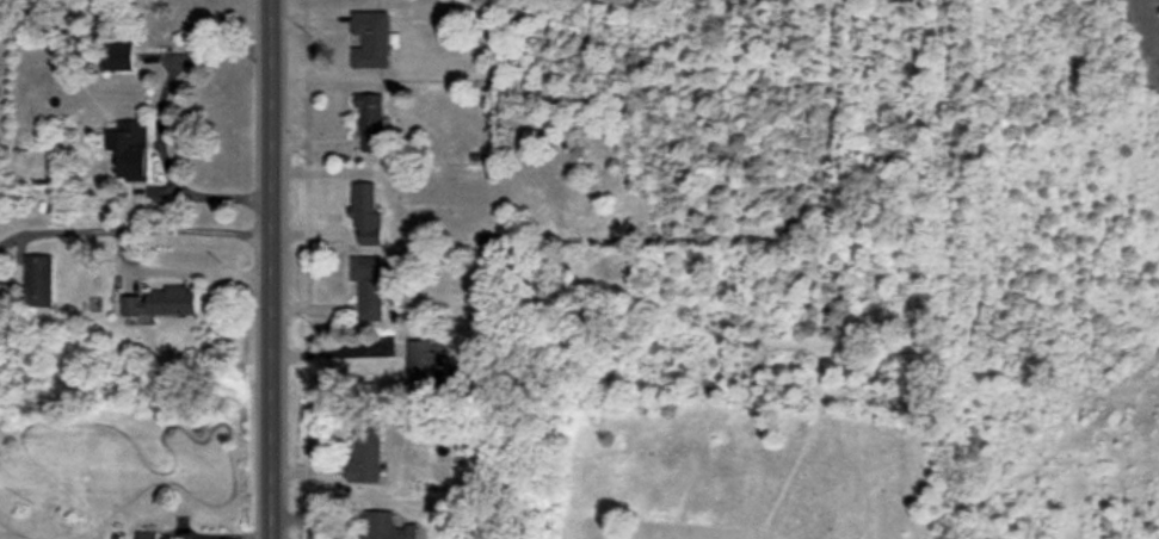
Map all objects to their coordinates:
building: (370, 39)
building: (118, 56)
building: (370, 120)
road: (161, 135)
building: (130, 149)
building: (365, 212)
road: (124, 248)
road: (270, 268)
building: (38, 280)
building: (369, 286)
building: (161, 302)
road: (333, 351)
building: (420, 364)
building: (365, 453)
building: (387, 526)
building: (147, 534)
road: (245, 537)

